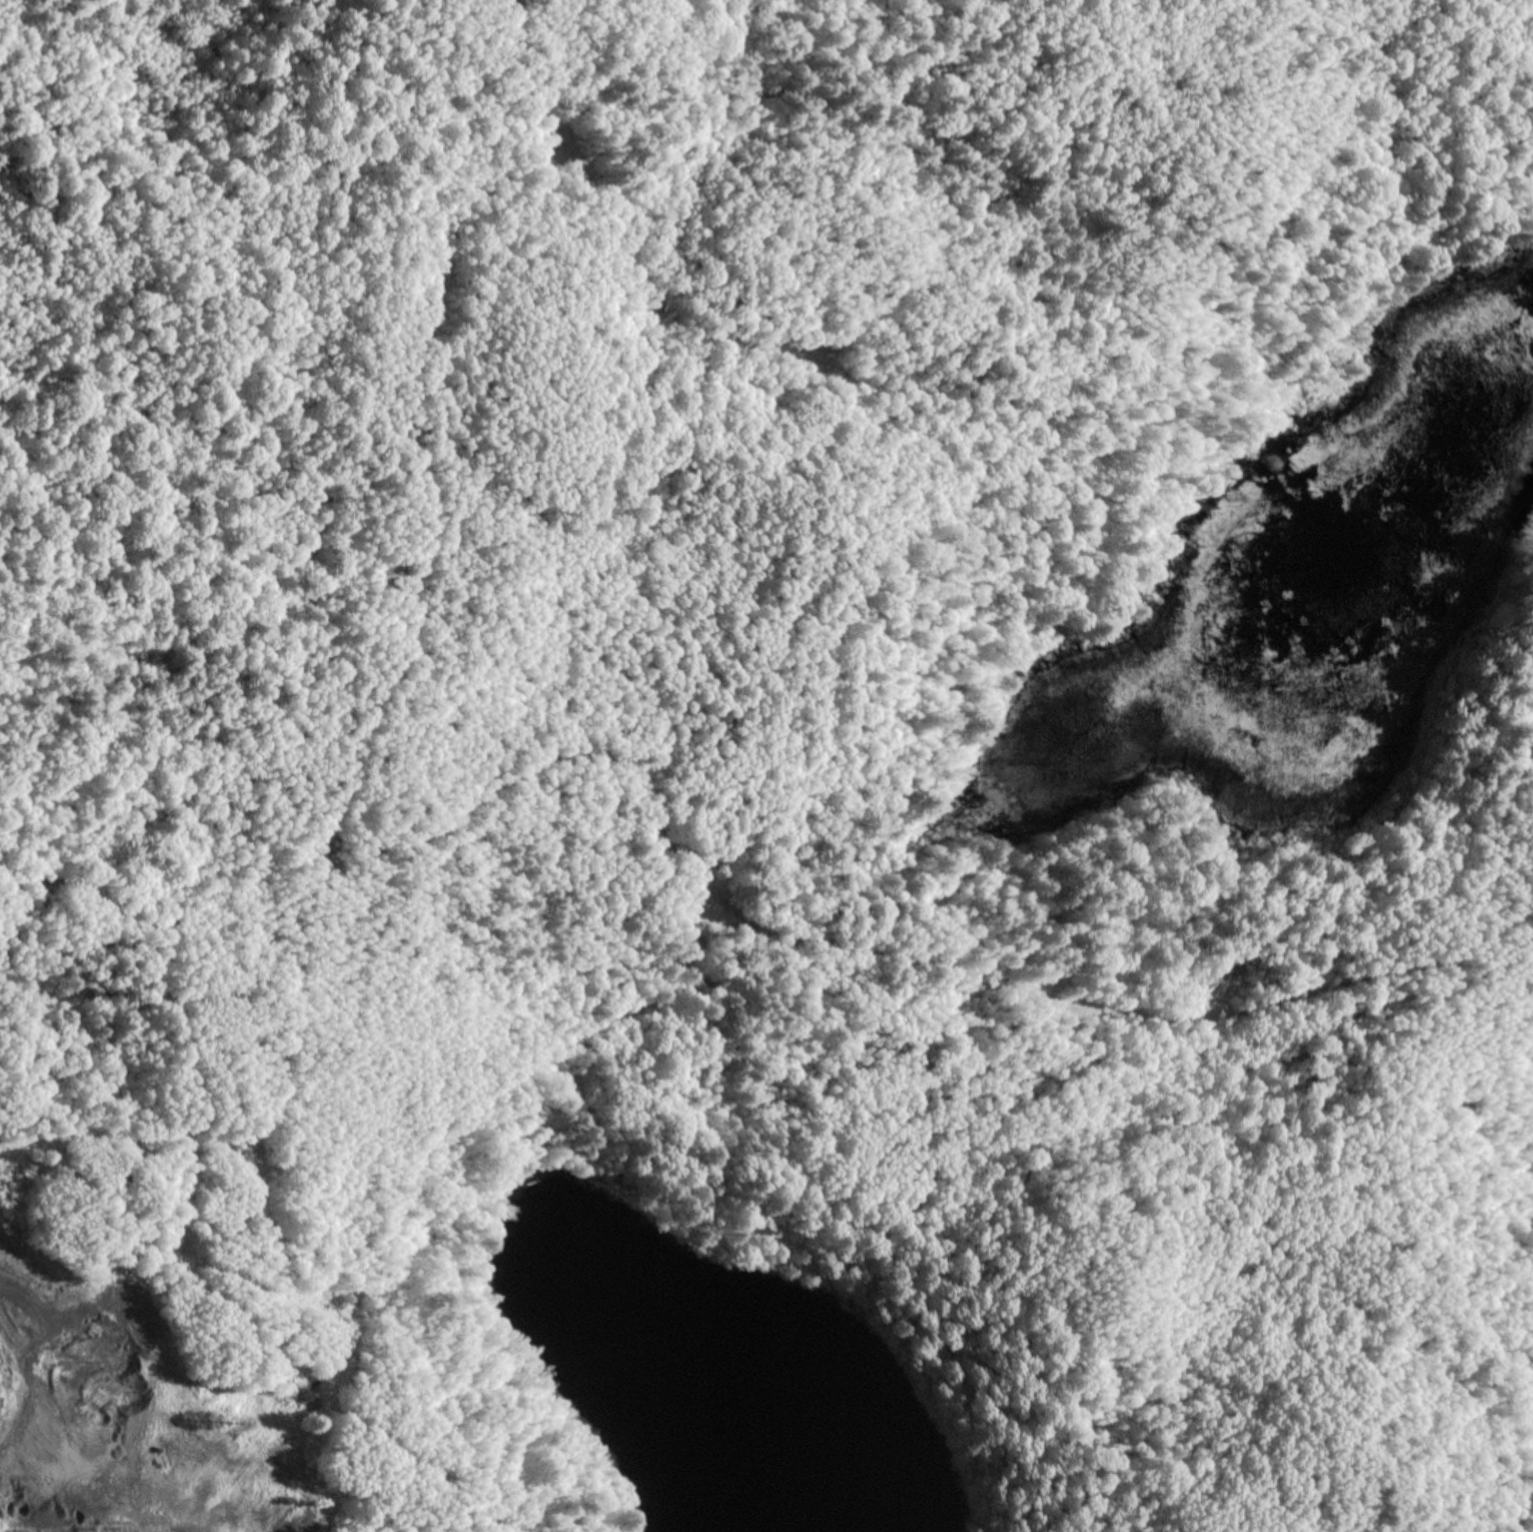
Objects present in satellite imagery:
road: (644, 801)
road: (52, 1320)
quarry: (227, 1332)
quarry: (125, 1405)

